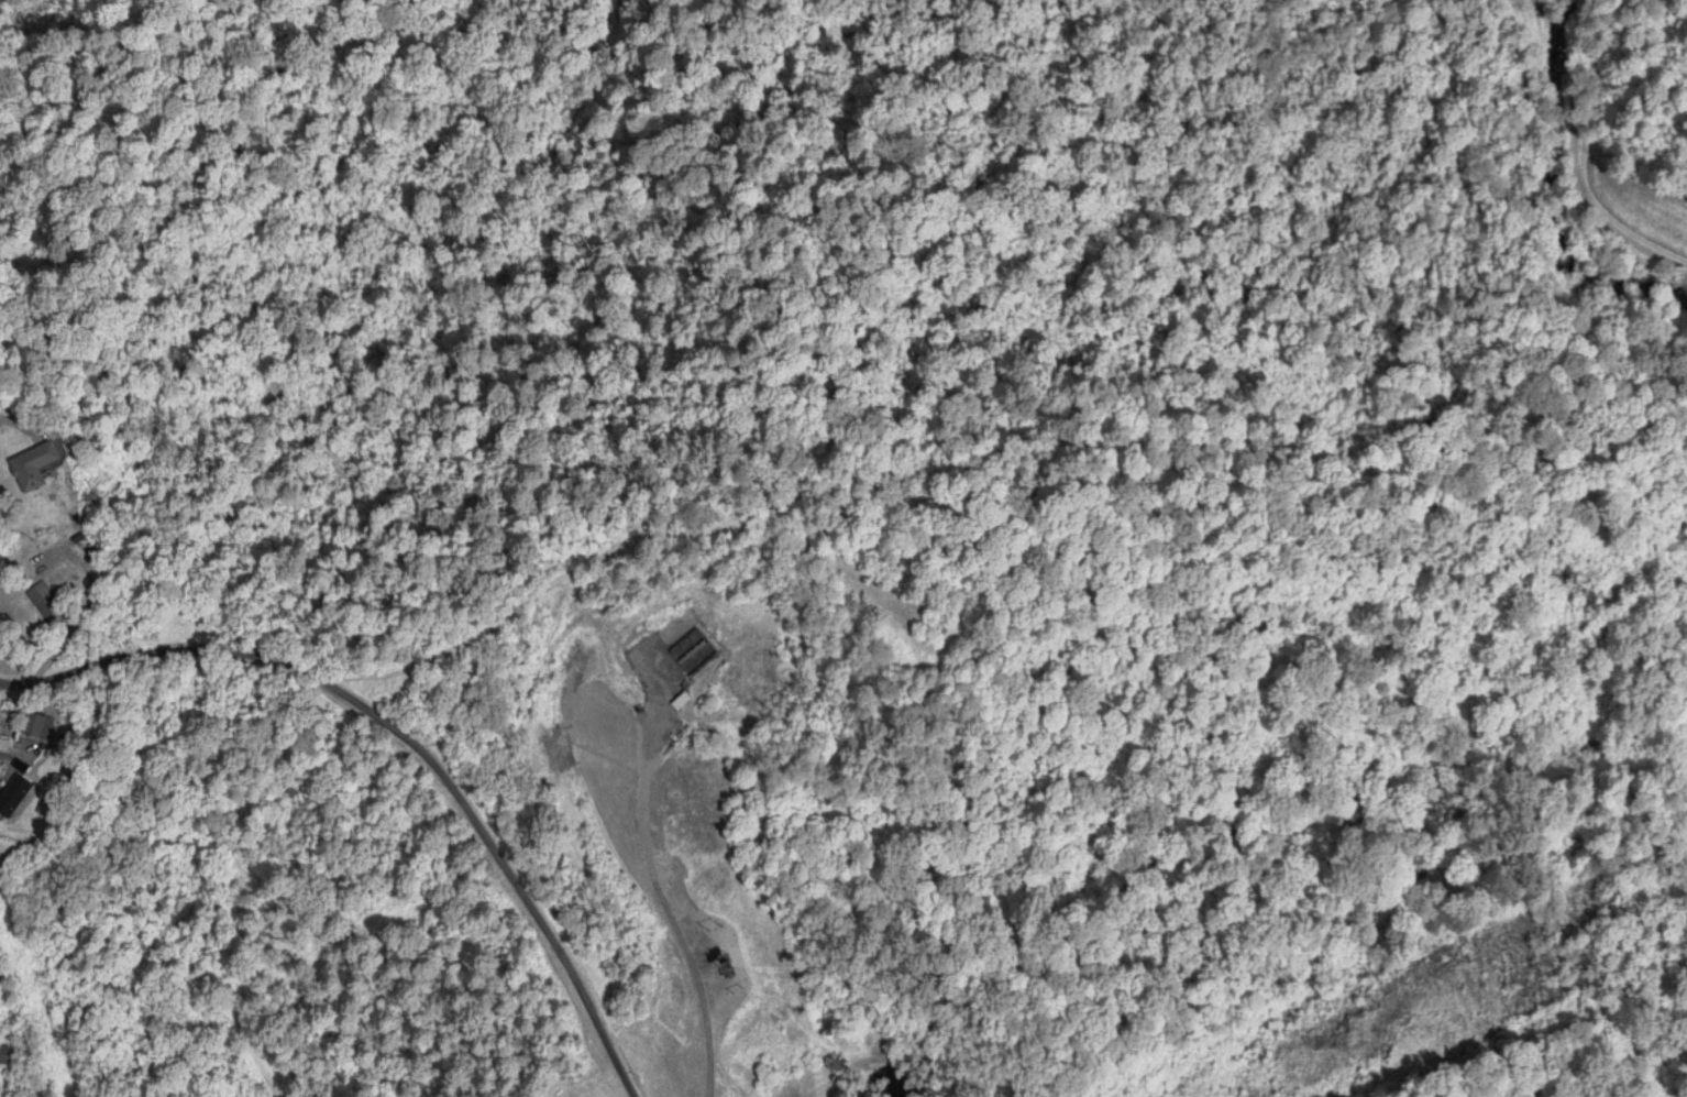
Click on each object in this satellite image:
road: (1572, 161)
road: (22, 424)
building: (25, 469)
building: (40, 600)
road: (9, 687)
road: (9, 691)
building: (680, 703)
road: (409, 742)
building: (3, 1056)

